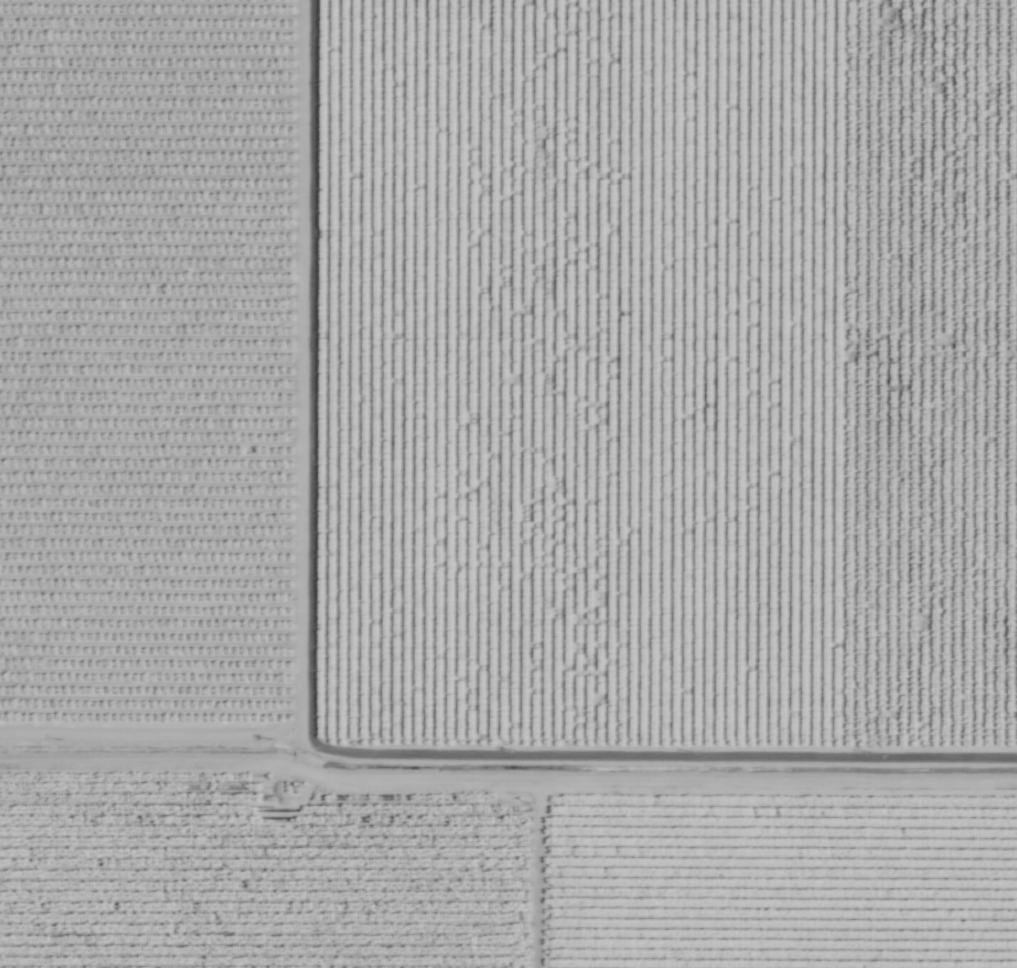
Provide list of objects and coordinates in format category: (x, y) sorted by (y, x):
crop: (508, 484)
road: (668, 802)

